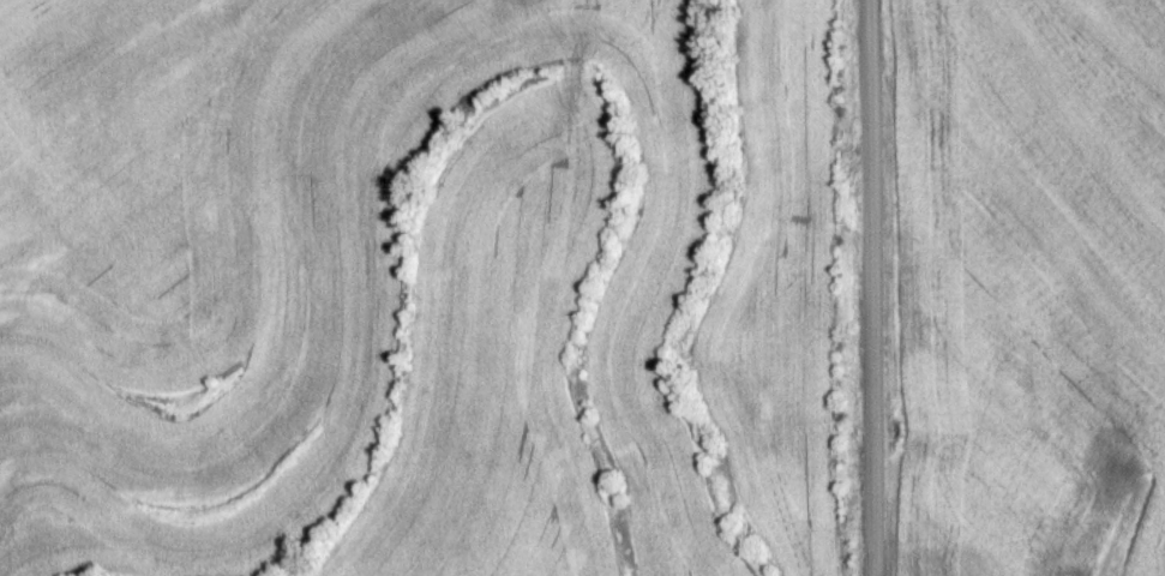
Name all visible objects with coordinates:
road: (851, 288)

